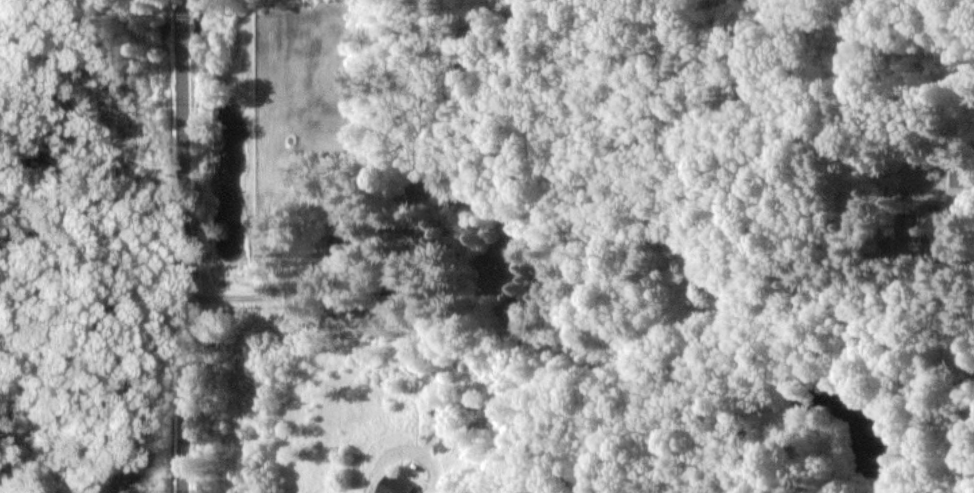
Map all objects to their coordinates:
building: (955, 177)
building: (347, 244)
road: (184, 246)
road: (256, 296)
building: (394, 485)

